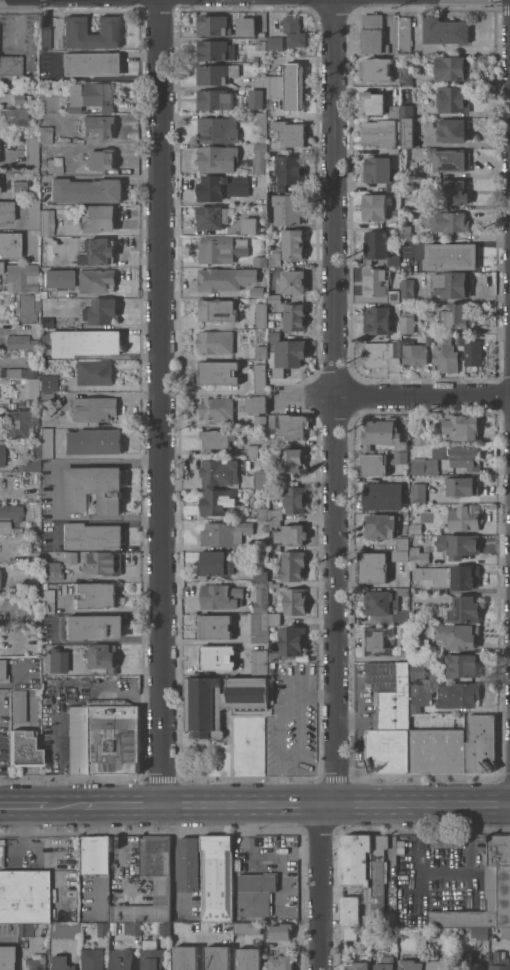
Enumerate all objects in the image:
building: (74, 25)
building: (213, 25)
building: (247, 26)
building: (445, 30)
building: (44, 32)
building: (294, 32)
building: (373, 34)
building: (405, 34)
building: (275, 42)
building: (215, 50)
building: (19, 59)
building: (92, 64)
building: (452, 68)
building: (376, 69)
building: (216, 73)
building: (406, 76)
building: (261, 80)
building: (275, 86)
building: (295, 86)
building: (90, 96)
building: (257, 98)
building: (18, 99)
building: (215, 99)
building: (453, 99)
building: (48, 103)
building: (372, 103)
building: (394, 111)
building: (406, 111)
building: (14, 116)
building: (260, 121)
building: (98, 127)
building: (222, 127)
building: (452, 130)
building: (379, 132)
building: (407, 132)
building: (45, 134)
building: (288, 135)
building: (263, 139)
building: (393, 150)
building: (32, 152)
building: (260, 158)
building: (100, 159)
building: (218, 159)
building: (450, 159)
building: (57, 164)
building: (381, 172)
building: (288, 173)
road: (103, 176)
building: (238, 185)
building: (19, 188)
building: (211, 188)
building: (86, 190)
building: (453, 192)
building: (375, 207)
building: (288, 209)
building: (6, 211)
building: (394, 213)
building: (33, 214)
building: (213, 217)
building: (97, 219)
building: (446, 221)
building: (46, 222)
building: (249, 225)
building: (406, 232)
building: (293, 244)
building: (9, 245)
building: (376, 245)
building: (221, 249)
building: (97, 251)
building: (451, 256)
building: (275, 259)
building: (394, 260)
building: (261, 261)
building: (1, 267)
building: (21, 277)
building: (58, 278)
building: (219, 279)
building: (96, 280)
building: (292, 281)
building: (375, 282)
building: (452, 284)
building: (407, 290)
building: (36, 295)
building: (394, 295)
building: (274, 298)
building: (26, 307)
building: (217, 310)
building: (100, 311)
building: (261, 315)
building: (455, 316)
building: (295, 317)
building: (377, 320)
building: (46, 322)
building: (407, 322)
building: (274, 335)
building: (468, 336)
building: (456, 338)
building: (428, 339)
building: (20, 342)
building: (85, 342)
building: (216, 342)
building: (261, 352)
building: (473, 352)
building: (32, 353)
building: (290, 353)
building: (414, 354)
building: (445, 354)
building: (382, 355)
building: (2, 371)
building: (21, 372)
building: (94, 372)
building: (218, 372)
building: (275, 372)
building: (260, 379)
building: (3, 381)
building: (10, 381)
building: (45, 386)
road: (393, 396)
building: (47, 401)
road: (159, 402)
road: (333, 402)
building: (257, 405)
building: (93, 409)
building: (217, 409)
building: (261, 420)
building: (272, 421)
building: (20, 423)
building: (293, 426)
building: (460, 427)
building: (385, 433)
building: (420, 437)
building: (217, 439)
building: (93, 441)
building: (273, 441)
building: (46, 443)
building: (252, 451)
building: (2, 454)
building: (401, 457)
building: (33, 460)
building: (290, 460)
building: (466, 460)
road: (82, 463)
building: (374, 464)
building: (222, 471)
building: (397, 478)
building: (262, 479)
building: (462, 486)
building: (92, 488)
building: (418, 492)
building: (383, 496)
building: (294, 499)
building: (219, 501)
building: (11, 511)
building: (26, 512)
building: (263, 513)
building: (276, 514)
building: (464, 517)
road: (98, 521)
building: (273, 523)
building: (5, 526)
building: (381, 526)
building: (416, 528)
building: (225, 533)
building: (291, 535)
building: (91, 536)
building: (403, 544)
building: (260, 545)
building: (458, 545)
building: (274, 546)
building: (401, 555)
building: (419, 556)
building: (32, 557)
building: (69, 558)
building: (103, 563)
building: (216, 563)
building: (372, 567)
building: (289, 568)
building: (50, 571)
building: (261, 574)
building: (453, 576)
building: (96, 595)
building: (221, 596)
building: (262, 597)
building: (47, 601)
building: (295, 601)
building: (387, 604)
building: (465, 609)
building: (275, 619)
building: (93, 627)
building: (215, 627)
building: (257, 628)
building: (33, 629)
building: (457, 635)
road: (99, 640)
building: (292, 640)
building: (376, 641)
building: (412, 656)
building: (102, 657)
building: (217, 657)
building: (274, 657)
building: (44, 660)
building: (56, 661)
building: (259, 662)
building: (463, 665)
building: (3, 672)
road: (18, 678)
building: (37, 691)
road: (318, 692)
building: (457, 695)
building: (419, 696)
building: (221, 701)
building: (18, 705)
road: (360, 712)
road: (282, 722)
building: (391, 727)
road: (301, 729)
building: (103, 737)
building: (481, 743)
building: (24, 749)
building: (437, 750)
road: (318, 767)
road: (282, 788)
road: (122, 805)
road: (335, 805)
road: (22, 806)
road: (64, 806)
road: (419, 819)
road: (470, 819)
road: (22, 834)
building: (447, 841)
building: (400, 846)
building: (94, 855)
building: (1, 856)
building: (188, 863)
building: (358, 869)
road: (419, 872)
road: (464, 874)
building: (157, 876)
building: (217, 878)
building: (380, 884)
road: (321, 887)
building: (485, 891)
building: (256, 893)
building: (24, 896)
building: (350, 910)
building: (125, 912)
building: (247, 927)
building: (132, 928)
building: (165, 928)
building: (26, 929)
building: (103, 929)
building: (64, 930)
building: (281, 931)
building: (480, 932)
building: (351, 933)
building: (390, 933)
building: (505, 933)
building: (378, 934)
building: (152, 956)
building: (5, 957)
building: (186, 958)
building: (218, 958)
building: (92, 959)
building: (122, 959)
building: (250, 959)
building: (500, 961)
building: (34, 962)
building: (281, 962)
building: (469, 962)
building: (58, 963)
building: (386, 963)
building: (438, 963)
building: (359, 965)
building: (411, 965)

